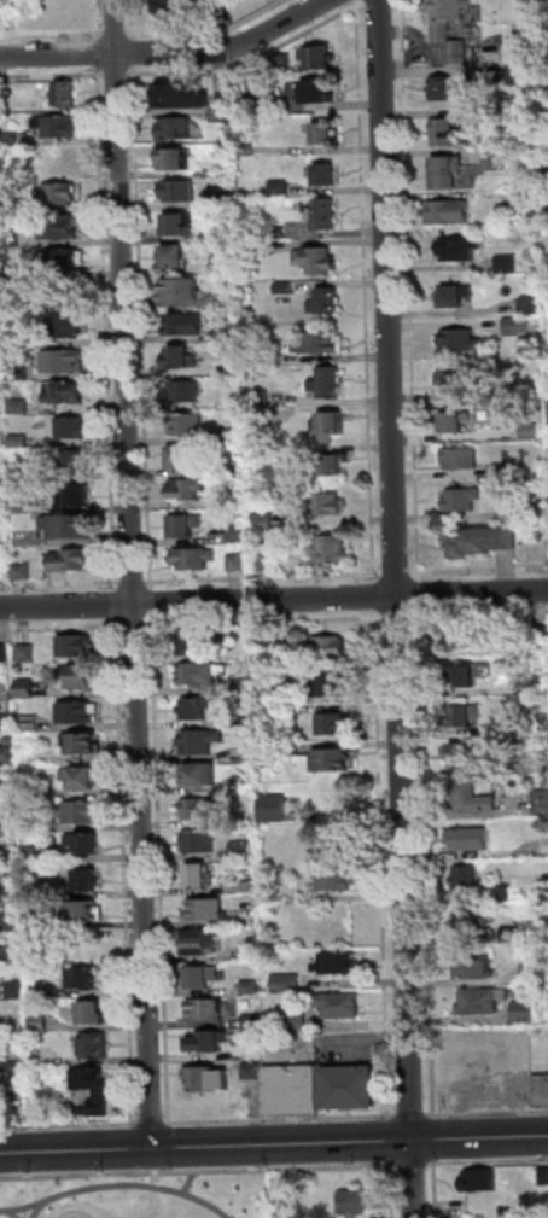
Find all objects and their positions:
building: (544, 4)
building: (5, 5)
building: (527, 5)
building: (171, 10)
building: (226, 12)
road: (97, 19)
road: (57, 30)
building: (443, 30)
road: (98, 51)
road: (168, 52)
road: (135, 58)
building: (320, 59)
road: (255, 60)
building: (281, 63)
road: (117, 74)
building: (520, 74)
road: (52, 75)
building: (444, 88)
building: (5, 89)
building: (66, 94)
building: (320, 94)
building: (183, 97)
building: (246, 106)
building: (223, 115)
building: (450, 124)
building: (58, 127)
building: (174, 128)
building: (325, 134)
building: (10, 140)
building: (247, 148)
building: (177, 159)
building: (499, 162)
building: (449, 173)
building: (327, 175)
building: (281, 188)
building: (180, 191)
building: (59, 192)
building: (225, 199)
building: (532, 202)
building: (11, 205)
building: (450, 212)
building: (323, 214)
building: (182, 223)
building: (58, 226)
building: (279, 232)
building: (12, 238)
building: (252, 249)
building: (461, 249)
building: (64, 258)
building: (176, 258)
building: (317, 260)
building: (225, 263)
building: (508, 263)
building: (17, 272)
building: (286, 287)
road: (368, 290)
road: (412, 290)
building: (182, 291)
building: (69, 292)
building: (455, 297)
building: (326, 302)
building: (532, 304)
building: (186, 324)
building: (66, 326)
road: (144, 326)
building: (518, 326)
road: (109, 327)
building: (229, 333)
building: (462, 342)
building: (320, 343)
building: (267, 355)
building: (181, 357)
building: (65, 361)
building: (21, 367)
building: (232, 367)
building: (455, 380)
building: (327, 384)
building: (514, 386)
building: (186, 391)
building: (66, 394)
building: (261, 398)
building: (21, 407)
building: (455, 422)
building: (72, 425)
building: (188, 425)
building: (331, 426)
building: (531, 430)
building: (234, 436)
building: (21, 441)
building: (183, 456)
building: (80, 459)
building: (461, 459)
building: (334, 466)
building: (505, 468)
building: (234, 470)
building: (22, 474)
building: (191, 489)
building: (82, 497)
building: (464, 500)
building: (327, 503)
building: (1, 505)
building: (19, 505)
building: (540, 512)
building: (264, 523)
building: (187, 525)
building: (70, 529)
building: (237, 534)
building: (480, 541)
building: (332, 549)
building: (196, 558)
building: (72, 560)
building: (262, 560)
building: (238, 563)
road: (479, 571)
building: (23, 572)
road: (135, 573)
road: (397, 573)
road: (264, 576)
road: (134, 581)
road: (62, 583)
road: (420, 594)
road: (375, 595)
road: (274, 599)
road: (152, 602)
road: (116, 605)
road: (398, 608)
road: (479, 613)
road: (397, 618)
road: (266, 622)
road: (60, 627)
road: (136, 627)
building: (258, 637)
building: (461, 639)
building: (541, 640)
building: (197, 641)
building: (74, 645)
building: (330, 646)
building: (25, 653)
building: (4, 654)
building: (290, 669)
building: (199, 674)
building: (467, 674)
building: (80, 676)
building: (541, 683)
building: (243, 684)
building: (331, 686)
building: (25, 688)
building: (1, 692)
building: (194, 709)
building: (291, 709)
building: (75, 711)
building: (465, 716)
building: (243, 721)
building: (5, 722)
building: (29, 722)
building: (542, 722)
building: (333, 723)
building: (81, 741)
building: (200, 741)
building: (464, 753)
building: (7, 754)
building: (266, 754)
building: (325, 760)
building: (200, 774)
building: (80, 777)
building: (30, 788)
building: (8, 789)
building: (470, 797)
building: (541, 802)
building: (200, 809)
building: (273, 809)
building: (84, 812)
building: (7, 823)
building: (31, 824)
building: (470, 839)
building: (199, 841)
building: (83, 844)
building: (544, 846)
building: (243, 851)
building: (33, 856)
building: (8, 859)
road: (426, 863)
road: (380, 864)
road: (124, 870)
road: (159, 870)
building: (197, 875)
building: (86, 880)
building: (336, 880)
building: (467, 880)
building: (250, 887)
building: (33, 890)
building: (11, 891)
building: (502, 893)
building: (272, 903)
building: (205, 909)
building: (86, 911)
building: (250, 919)
building: (470, 919)
building: (12, 922)
building: (34, 923)
building: (512, 936)
building: (199, 942)
building: (8, 957)
building: (336, 963)
building: (476, 969)
building: (532, 973)
building: (202, 975)
building: (87, 979)
building: (287, 983)
building: (250, 986)
building: (16, 990)
building: (37, 991)
building: (482, 1000)
building: (339, 1004)
building: (206, 1009)
building: (525, 1012)
building: (93, 1013)
building: (252, 1019)
building: (296, 1021)
building: (16, 1022)
building: (40, 1022)
building: (209, 1041)
building: (95, 1045)
building: (253, 1071)
building: (11, 1072)
building: (208, 1078)
building: (58, 1079)
building: (350, 1085)
building: (292, 1090)
building: (541, 1090)
building: (100, 1094)
road: (486, 1112)
road: (412, 1114)
road: (281, 1120)
road: (151, 1123)
road: (69, 1126)
road: (433, 1138)
road: (390, 1140)
road: (274, 1143)
road: (488, 1161)
road: (413, 1164)
road: (198, 1170)
building: (544, 1175)
building: (480, 1179)
road: (392, 1189)
road: (435, 1189)
park: (138, 1197)
building: (352, 1202)

